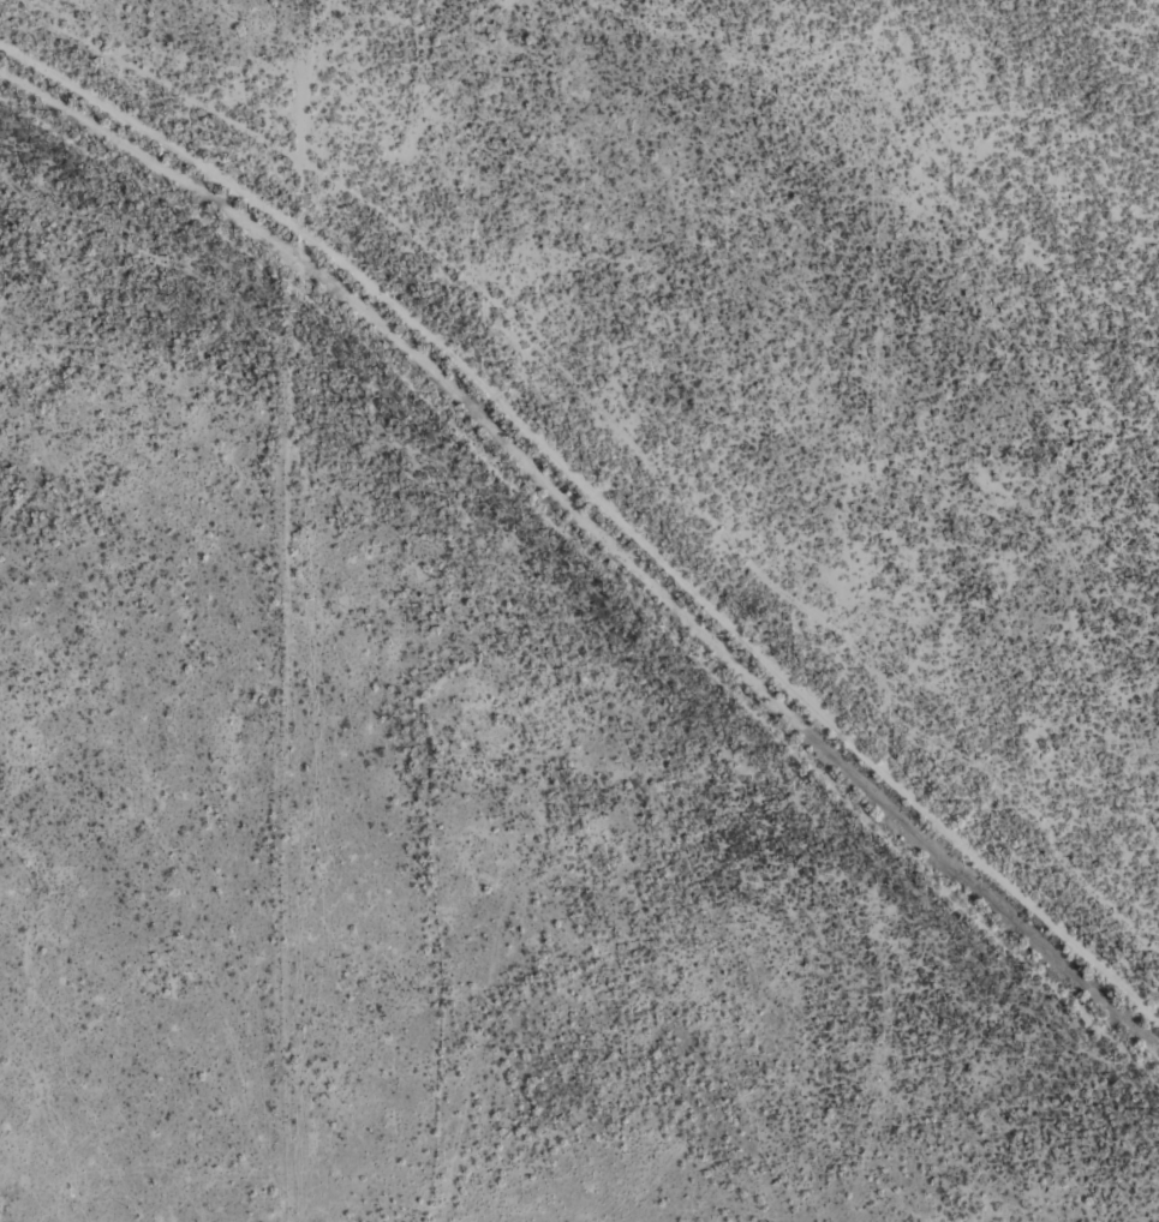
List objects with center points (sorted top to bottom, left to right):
road: (643, 453)
road: (575, 926)

